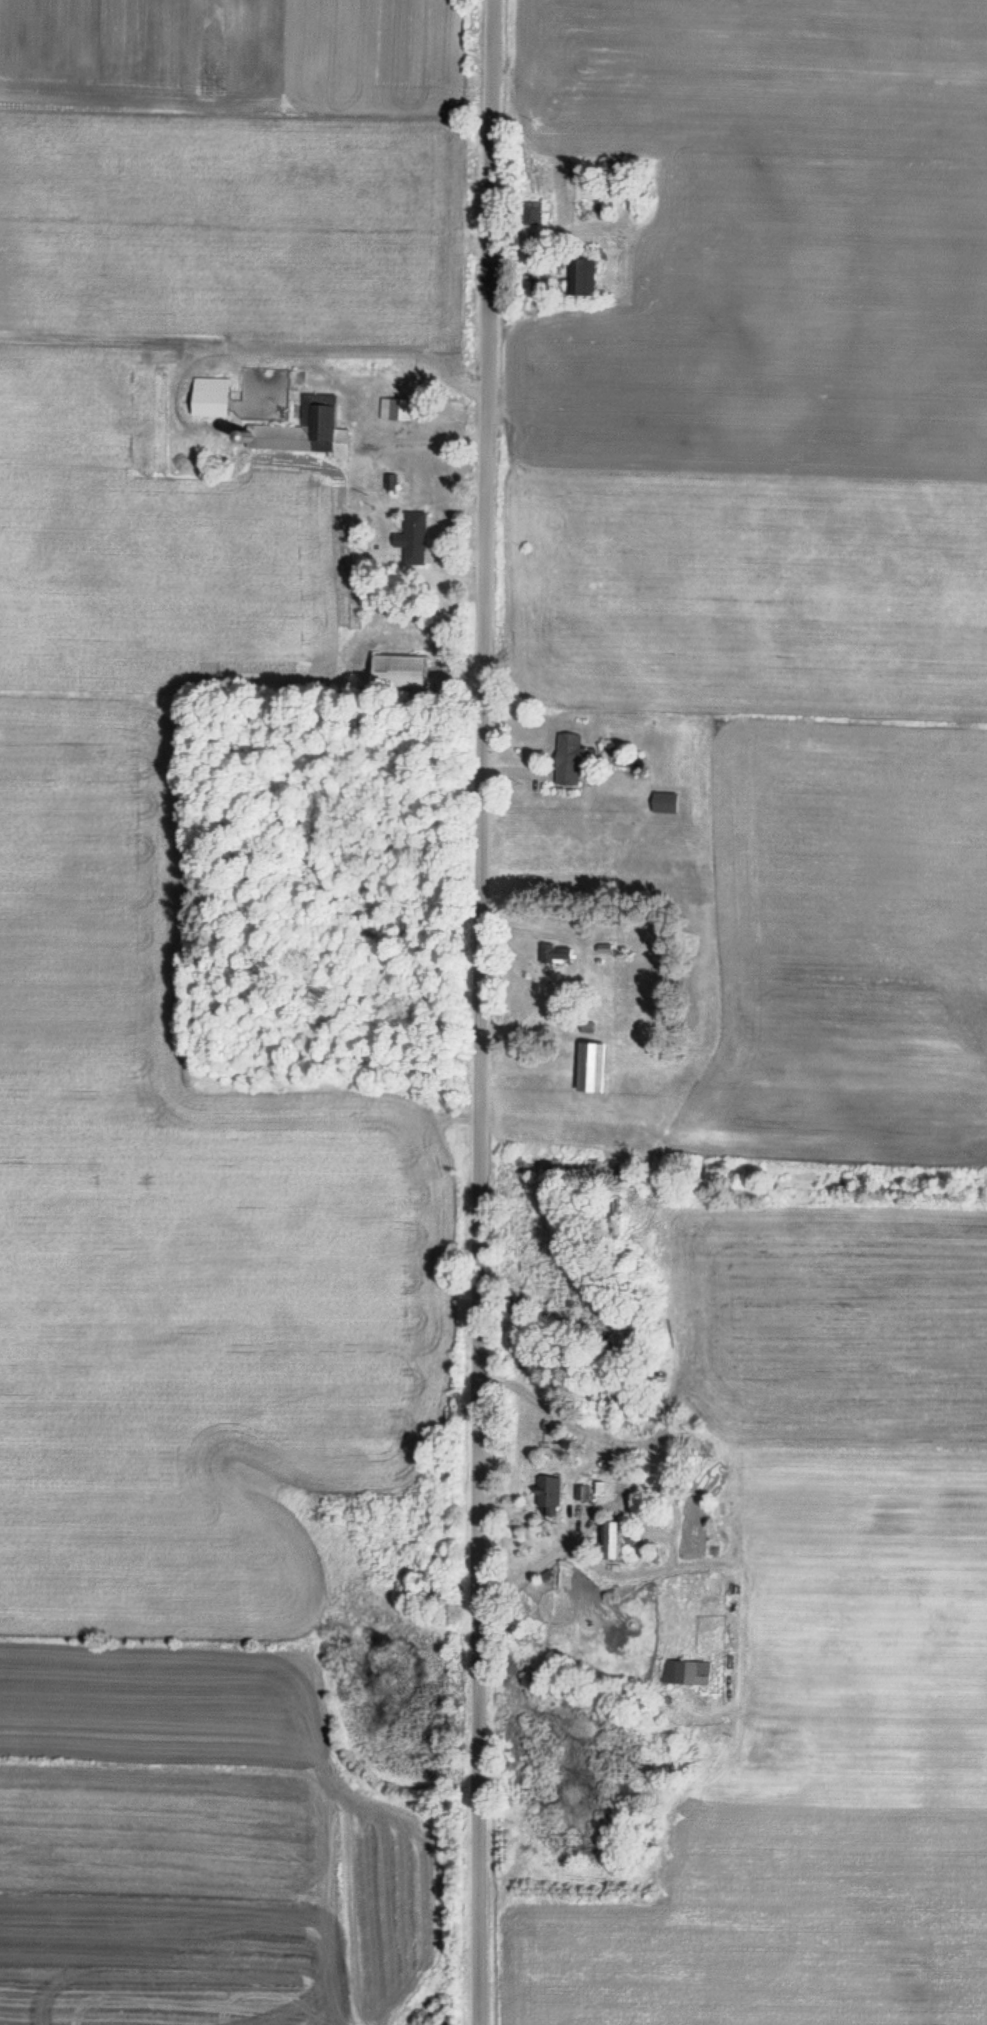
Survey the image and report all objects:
building: (580, 278)
building: (209, 397)
building: (394, 410)
building: (304, 431)
building: (411, 538)
building: (398, 670)
building: (571, 757)
building: (663, 802)
building: (556, 953)
road: (480, 1012)
building: (591, 1067)
building: (625, 1173)
building: (548, 1495)
building: (618, 1539)
building: (686, 1671)

